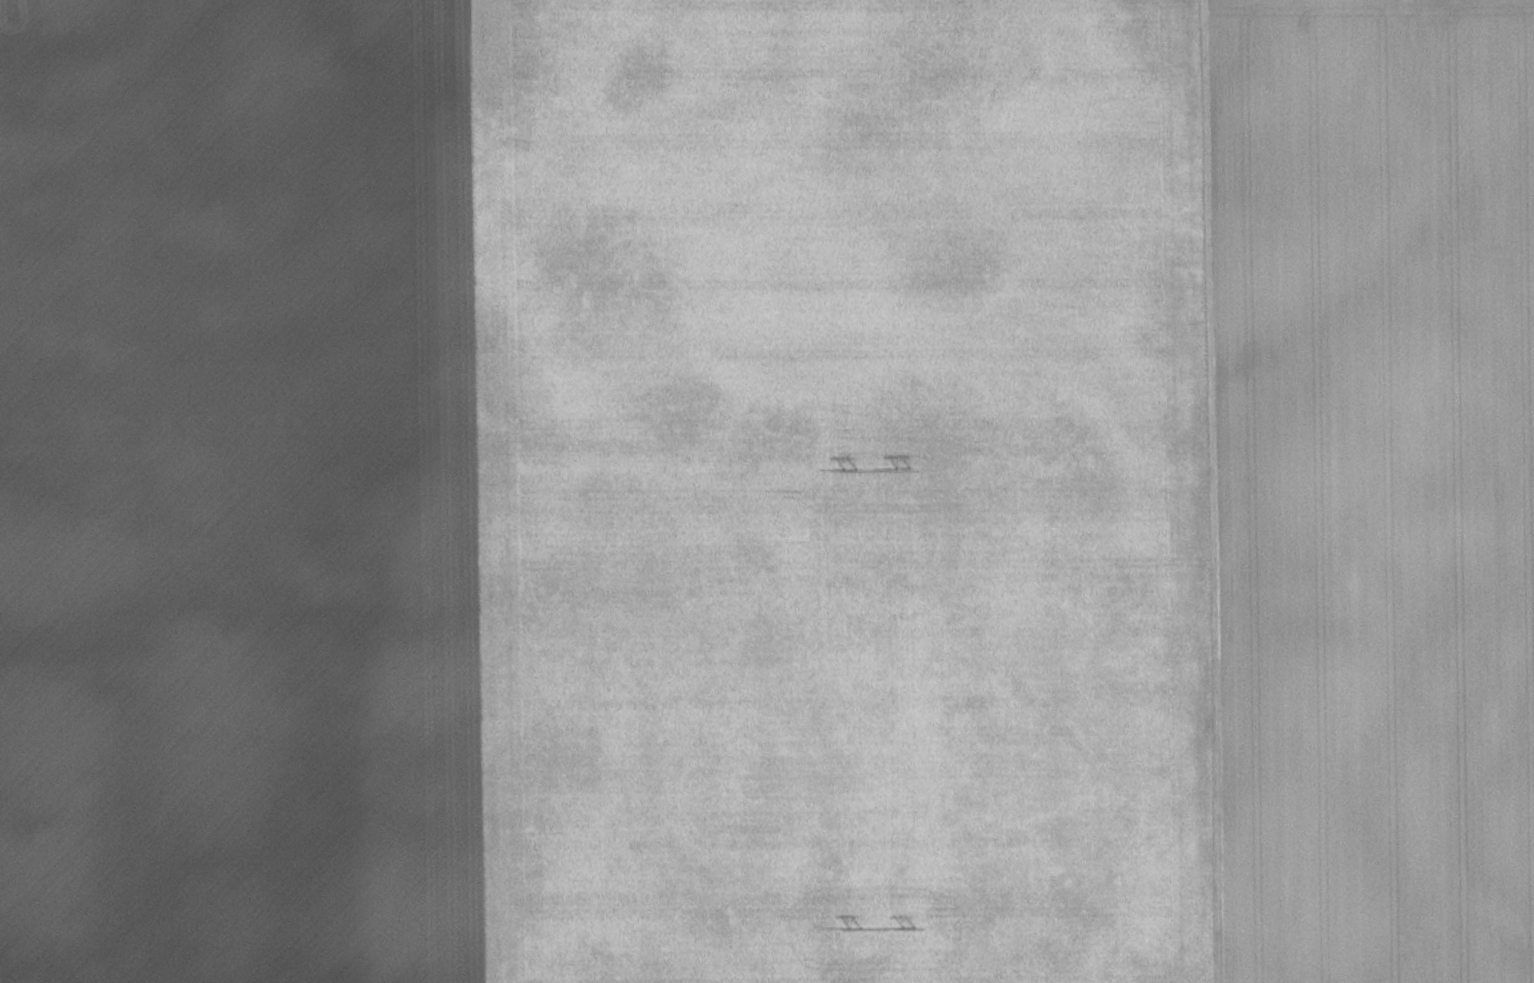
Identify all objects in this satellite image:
power tower: (844, 462)
power tower: (900, 463)
power tower: (908, 924)
power tower: (854, 925)

